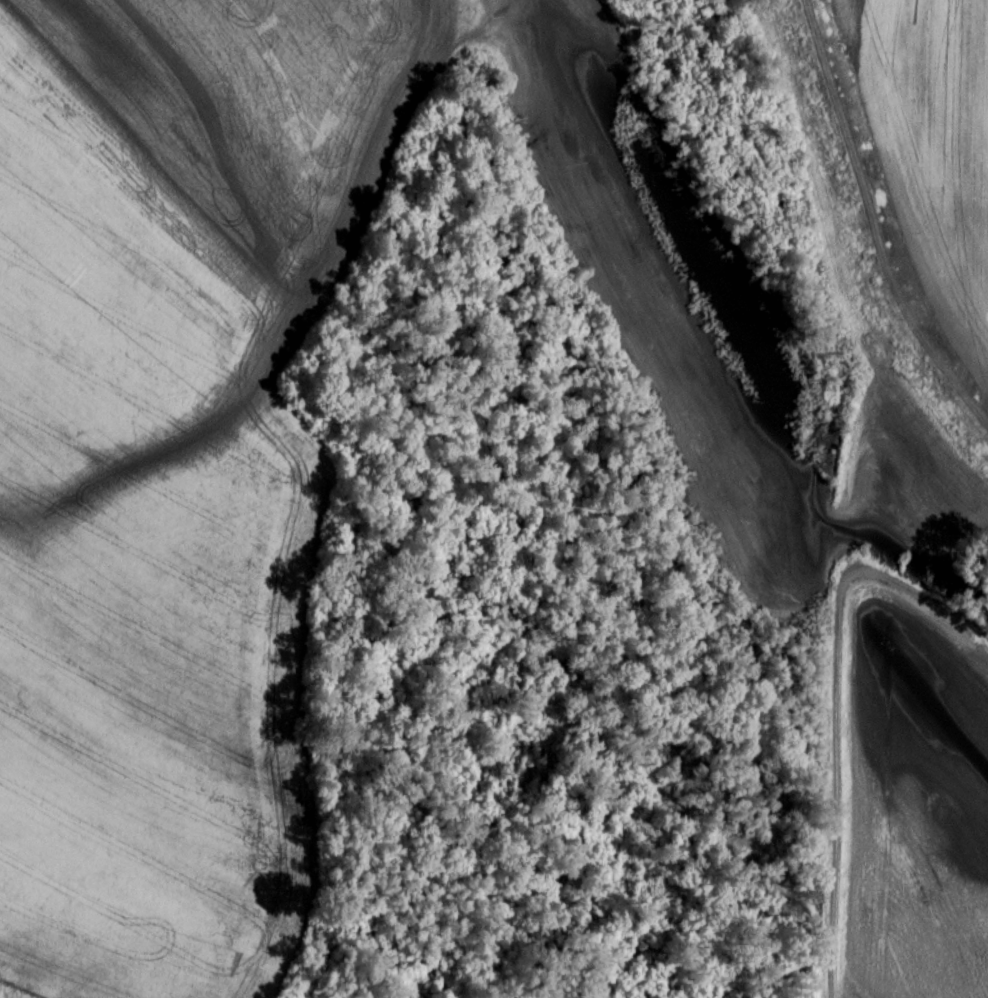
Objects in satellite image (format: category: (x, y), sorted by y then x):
road: (871, 227)
road: (858, 408)
road: (912, 592)
road: (838, 779)

